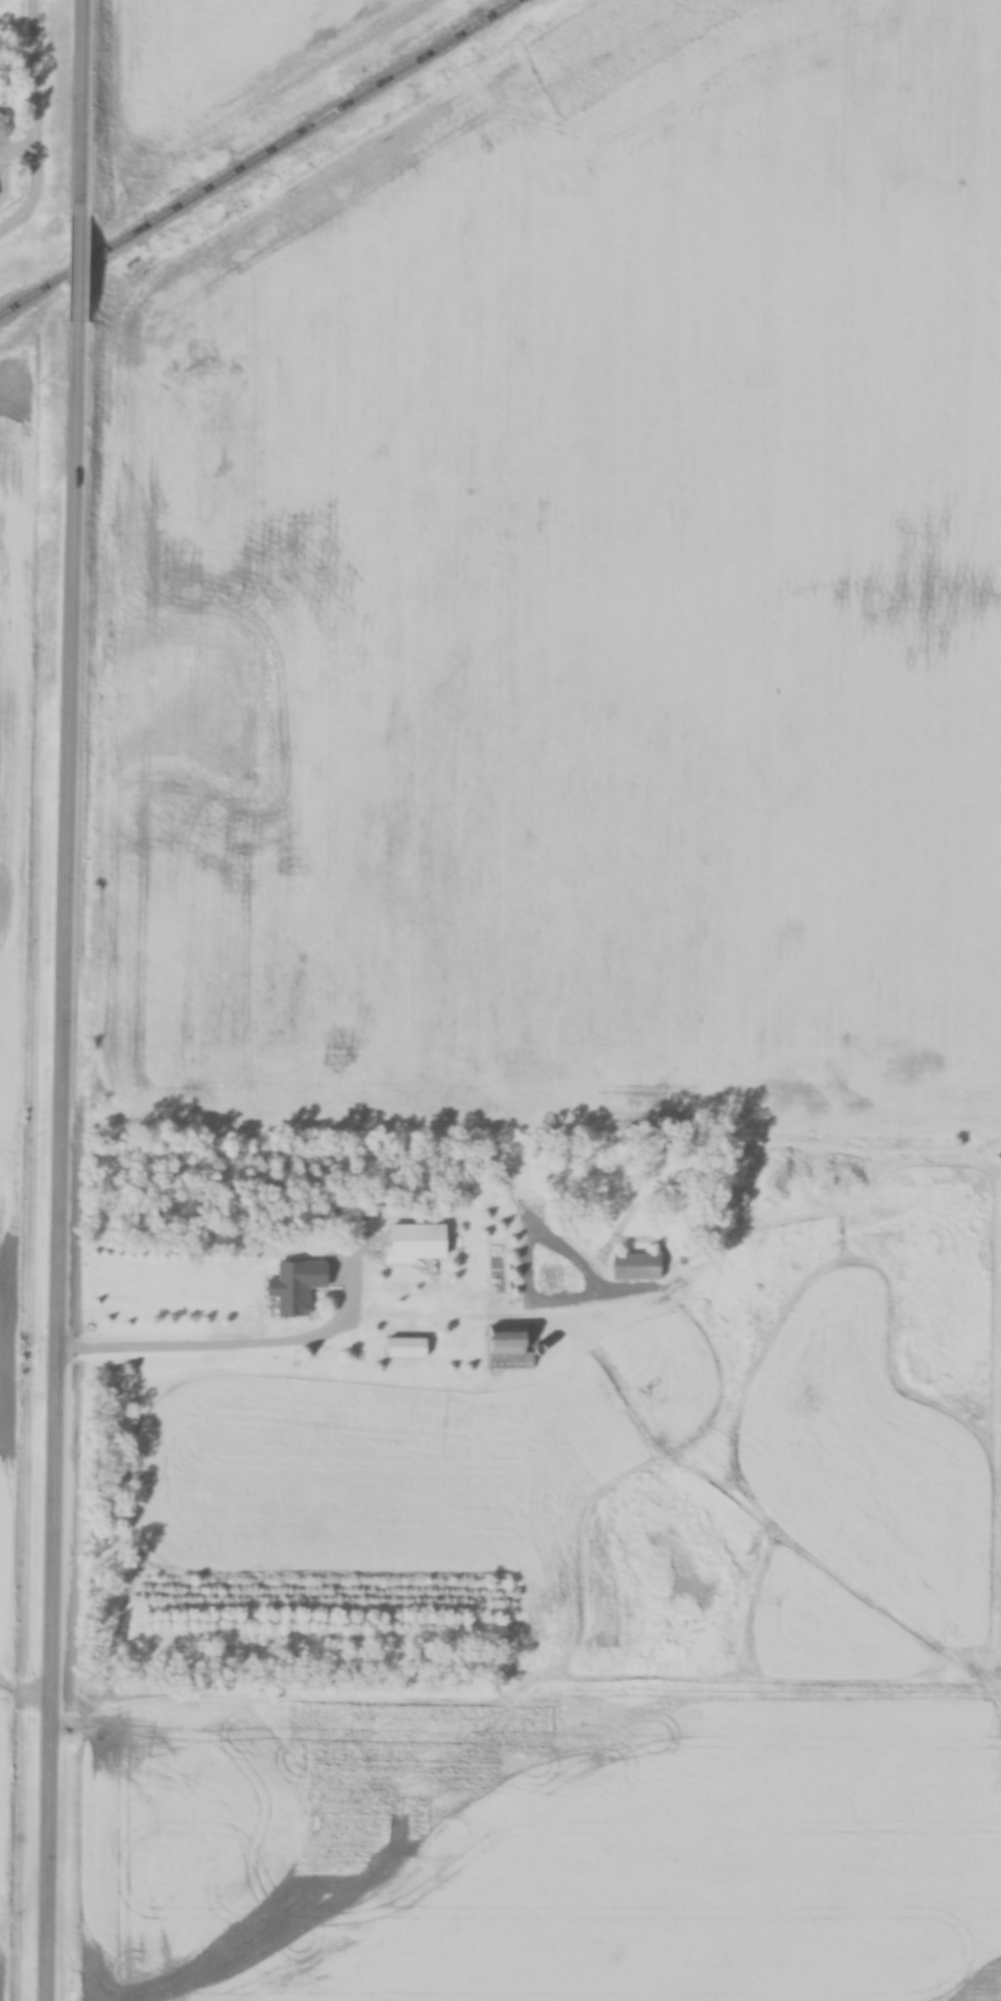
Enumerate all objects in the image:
road: (87, 107)
road: (43, 126)
railway: (259, 158)
road: (85, 261)
road: (67, 1154)
building: (635, 1266)
building: (288, 1289)
building: (501, 1345)
building: (405, 1346)

